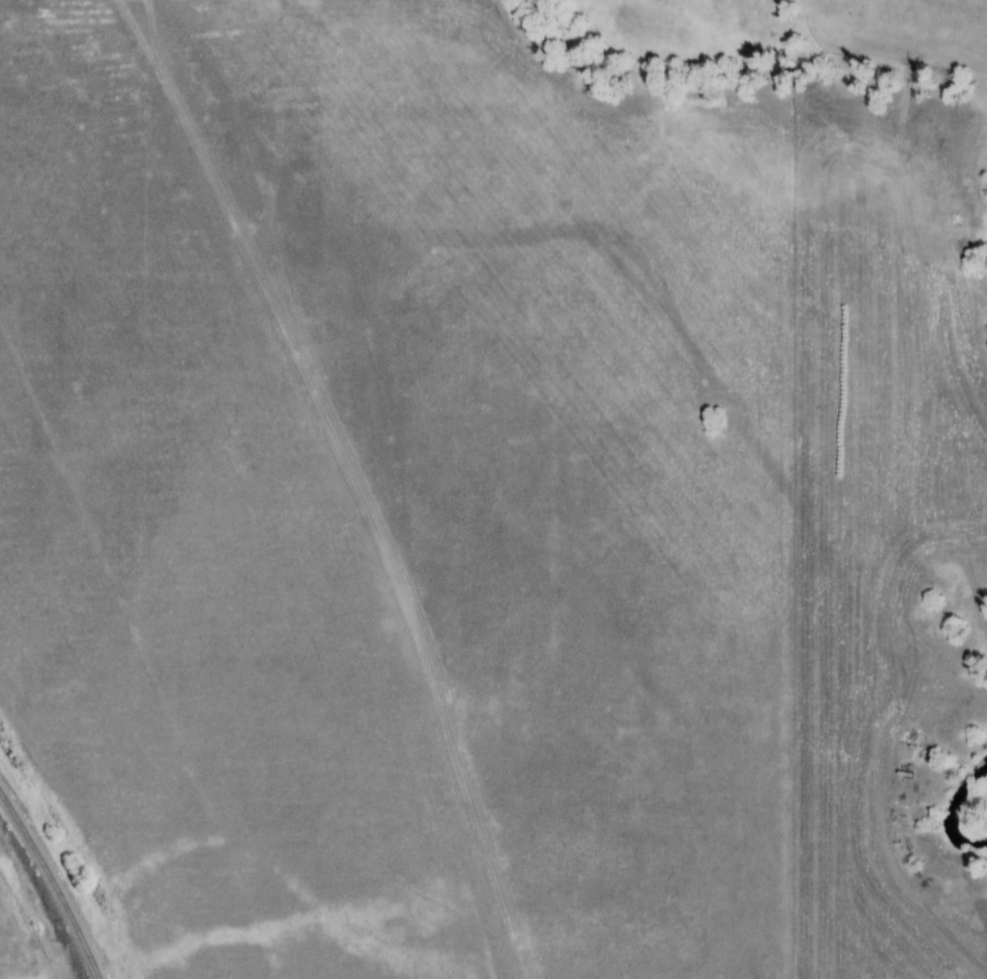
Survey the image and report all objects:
railway: (48, 891)

